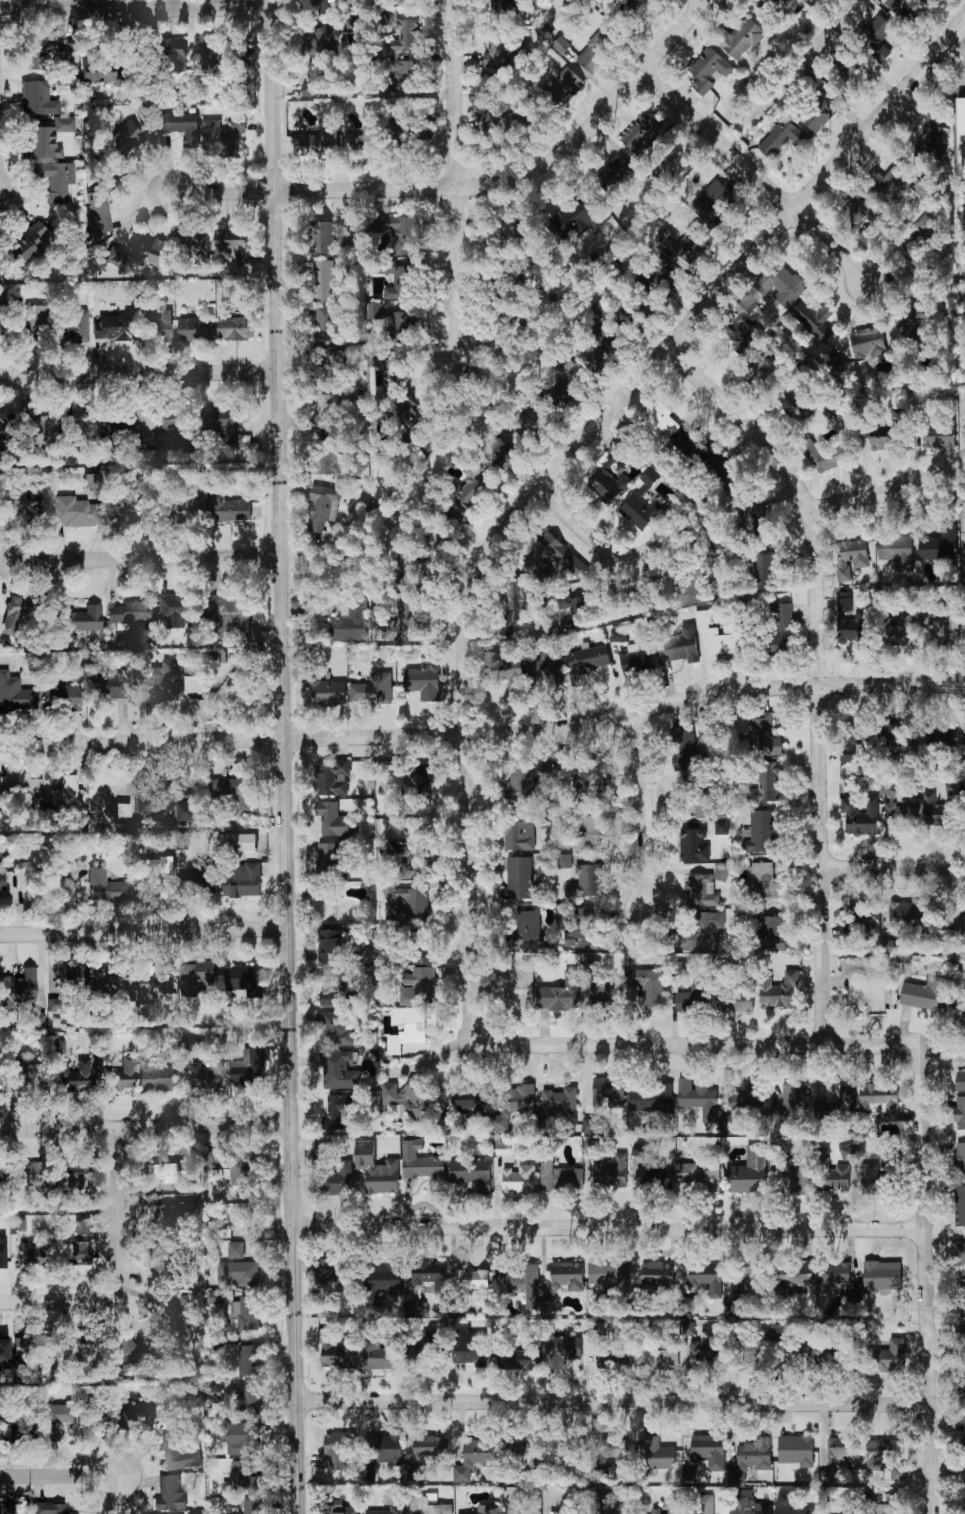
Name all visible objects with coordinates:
park: (118, 2)
building: (641, 3)
road: (136, 4)
building: (318, 4)
building: (765, 4)
building: (899, 6)
road: (963, 32)
building: (406, 35)
building: (876, 38)
building: (323, 39)
building: (742, 39)
building: (41, 48)
building: (594, 51)
building: (221, 52)
building: (495, 52)
building: (709, 70)
building: (406, 74)
building: (108, 75)
building: (68, 77)
building: (318, 79)
building: (568, 85)
building: (38, 98)
building: (519, 115)
building: (819, 116)
road: (598, 121)
building: (180, 127)
building: (643, 135)
building: (932, 135)
building: (47, 137)
building: (222, 137)
building: (960, 138)
building: (124, 139)
building: (782, 139)
building: (369, 140)
building: (317, 143)
building: (615, 173)
road: (759, 177)
building: (56, 179)
road: (454, 179)
building: (899, 184)
road: (313, 190)
building: (716, 196)
building: (100, 207)
building: (858, 214)
building: (573, 219)
building: (927, 226)
building: (399, 233)
building: (324, 237)
building: (866, 237)
building: (27, 244)
building: (692, 244)
building: (233, 246)
building: (148, 250)
building: (113, 255)
building: (915, 260)
building: (326, 282)
building: (400, 282)
building: (666, 282)
building: (781, 285)
building: (628, 315)
building: (1, 319)
building: (35, 319)
building: (814, 319)
building: (911, 321)
building: (395, 323)
building: (237, 324)
building: (73, 326)
building: (330, 326)
building: (113, 327)
building: (158, 327)
building: (197, 327)
building: (868, 343)
building: (595, 349)
building: (335, 367)
road: (140, 372)
building: (390, 372)
building: (569, 385)
building: (795, 406)
building: (331, 410)
building: (833, 413)
building: (898, 414)
building: (222, 421)
building: (537, 421)
building: (174, 423)
building: (654, 424)
building: (120, 425)
building: (82, 428)
building: (38, 430)
building: (5, 432)
building: (939, 437)
building: (884, 440)
building: (155, 454)
building: (498, 456)
building: (829, 456)
building: (328, 461)
road: (557, 468)
building: (92, 480)
building: (469, 490)
building: (603, 493)
building: (5, 499)
road: (861, 499)
building: (644, 503)
building: (188, 507)
building: (229, 508)
building: (321, 510)
building: (74, 512)
building: (121, 512)
building: (756, 521)
road: (585, 529)
building: (941, 545)
building: (896, 551)
building: (559, 555)
building: (851, 557)
road: (140, 559)
building: (766, 571)
building: (414, 576)
building: (845, 601)
building: (575, 606)
building: (513, 608)
building: (176, 609)
building: (16, 611)
building: (131, 613)
building: (231, 616)
building: (703, 617)
building: (83, 620)
building: (351, 623)
building: (401, 623)
building: (857, 626)
building: (780, 628)
building: (900, 630)
building: (617, 635)
building: (725, 640)
building: (679, 646)
building: (637, 656)
building: (587, 661)
building: (545, 667)
road: (819, 669)
building: (504, 671)
building: (159, 683)
building: (424, 683)
building: (194, 684)
building: (112, 685)
building: (373, 690)
building: (15, 693)
building: (329, 693)
building: (61, 695)
building: (705, 728)
road: (484, 733)
building: (762, 737)
building: (943, 737)
building: (899, 741)
building: (853, 743)
building: (686, 750)
road: (285, 757)
building: (583, 774)
building: (528, 778)
building: (333, 779)
building: (417, 782)
building: (767, 784)
building: (953, 788)
building: (21, 789)
building: (889, 789)
building: (214, 790)
building: (239, 792)
building: (67, 795)
building: (115, 795)
building: (171, 802)
building: (700, 809)
road: (645, 810)
building: (940, 812)
building: (861, 816)
building: (335, 820)
building: (520, 833)
building: (760, 833)
building: (592, 835)
building: (239, 843)
building: (693, 845)
building: (330, 858)
building: (564, 861)
building: (410, 862)
road: (892, 868)
building: (151, 872)
building: (720, 873)
building: (520, 879)
building: (2, 880)
building: (242, 880)
building: (765, 881)
building: (197, 882)
building: (586, 882)
building: (106, 887)
building: (701, 891)
building: (408, 903)
building: (905, 913)
building: (954, 921)
building: (528, 929)
building: (583, 931)
road: (144, 932)
building: (703, 933)
building: (772, 933)
building: (330, 946)
building: (426, 951)
building: (73, 976)
building: (197, 976)
building: (244, 980)
building: (112, 983)
building: (153, 985)
building: (18, 986)
building: (515, 986)
building: (420, 987)
building: (650, 987)
building: (867, 989)
building: (779, 991)
building: (341, 992)
building: (560, 994)
building: (924, 994)
building: (605, 995)
building: (736, 998)
building: (692, 999)
building: (961, 1012)
building: (36, 1019)
building: (407, 1028)
building: (335, 1030)
road: (697, 1045)
building: (196, 1046)
building: (248, 1068)
building: (120, 1074)
building: (76, 1075)
building: (208, 1075)
building: (25, 1076)
building: (157, 1078)
building: (960, 1081)
building: (608, 1092)
building: (652, 1098)
building: (416, 1099)
building: (698, 1099)
building: (515, 1105)
building: (790, 1105)
building: (556, 1106)
building: (838, 1107)
building: (481, 1108)
building: (960, 1113)
building: (333, 1118)
building: (590, 1125)
road: (145, 1127)
building: (502, 1148)
building: (591, 1148)
building: (639, 1150)
building: (847, 1152)
building: (960, 1160)
building: (891, 1161)
building: (420, 1163)
building: (377, 1169)
building: (332, 1171)
building: (749, 1172)
building: (162, 1173)
building: (472, 1173)
building: (791, 1173)
building: (612, 1174)
building: (831, 1174)
building: (30, 1175)
building: (698, 1175)
building: (560, 1177)
building: (654, 1178)
building: (871, 1179)
building: (519, 1180)
building: (73, 1181)
building: (191, 1204)
building: (960, 1206)
building: (167, 1219)
road: (608, 1228)
building: (235, 1250)
building: (3, 1251)
building: (960, 1252)
building: (34, 1253)
building: (76, 1253)
road: (119, 1266)
building: (238, 1274)
building: (611, 1275)
building: (431, 1276)
building: (567, 1276)
building: (882, 1276)
building: (329, 1277)
building: (656, 1277)
building: (793, 1277)
building: (833, 1277)
building: (747, 1278)
building: (706, 1279)
building: (382, 1281)
building: (476, 1282)
road: (924, 1282)
building: (522, 1285)
building: (216, 1297)
building: (962, 1301)
building: (188, 1306)
building: (415, 1307)
building: (248, 1314)
building: (595, 1328)
building: (779, 1333)
building: (963, 1341)
building: (432, 1342)
building: (78, 1348)
building: (472, 1350)
building: (336, 1351)
building: (562, 1351)
building: (3, 1352)
building: (129, 1352)
building: (382, 1354)
building: (755, 1354)
building: (661, 1356)
building: (705, 1356)
building: (893, 1356)
building: (605, 1359)
building: (804, 1359)
building: (516, 1360)
building: (248, 1361)
building: (833, 1361)
building: (961, 1393)
building: (249, 1401)
road: (611, 1403)
building: (97, 1417)
building: (138, 1417)
building: (55, 1420)
building: (17, 1432)
building: (243, 1439)
building: (964, 1443)
building: (610, 1445)
building: (431, 1447)
building: (480, 1448)
building: (387, 1450)
building: (176, 1451)
building: (338, 1451)
building: (796, 1451)
building: (708, 1452)
building: (882, 1453)
building: (656, 1454)
building: (525, 1455)
building: (841, 1456)
building: (750, 1459)
building: (898, 1474)
road: (60, 1475)
building: (690, 1477)
building: (244, 1480)
building: (964, 1491)
road: (121, 1494)
building: (170, 1494)
building: (516, 1503)
building: (580, 1504)
building: (706, 1504)
building: (747, 1504)
building: (790, 1504)
building: (427, 1506)
building: (252, 1507)
building: (671, 1507)
building: (9, 1508)
building: (48, 1508)
building: (487, 1509)
building: (883, 1509)
building: (343, 1511)
building: (384, 1511)
building: (195, 1513)

